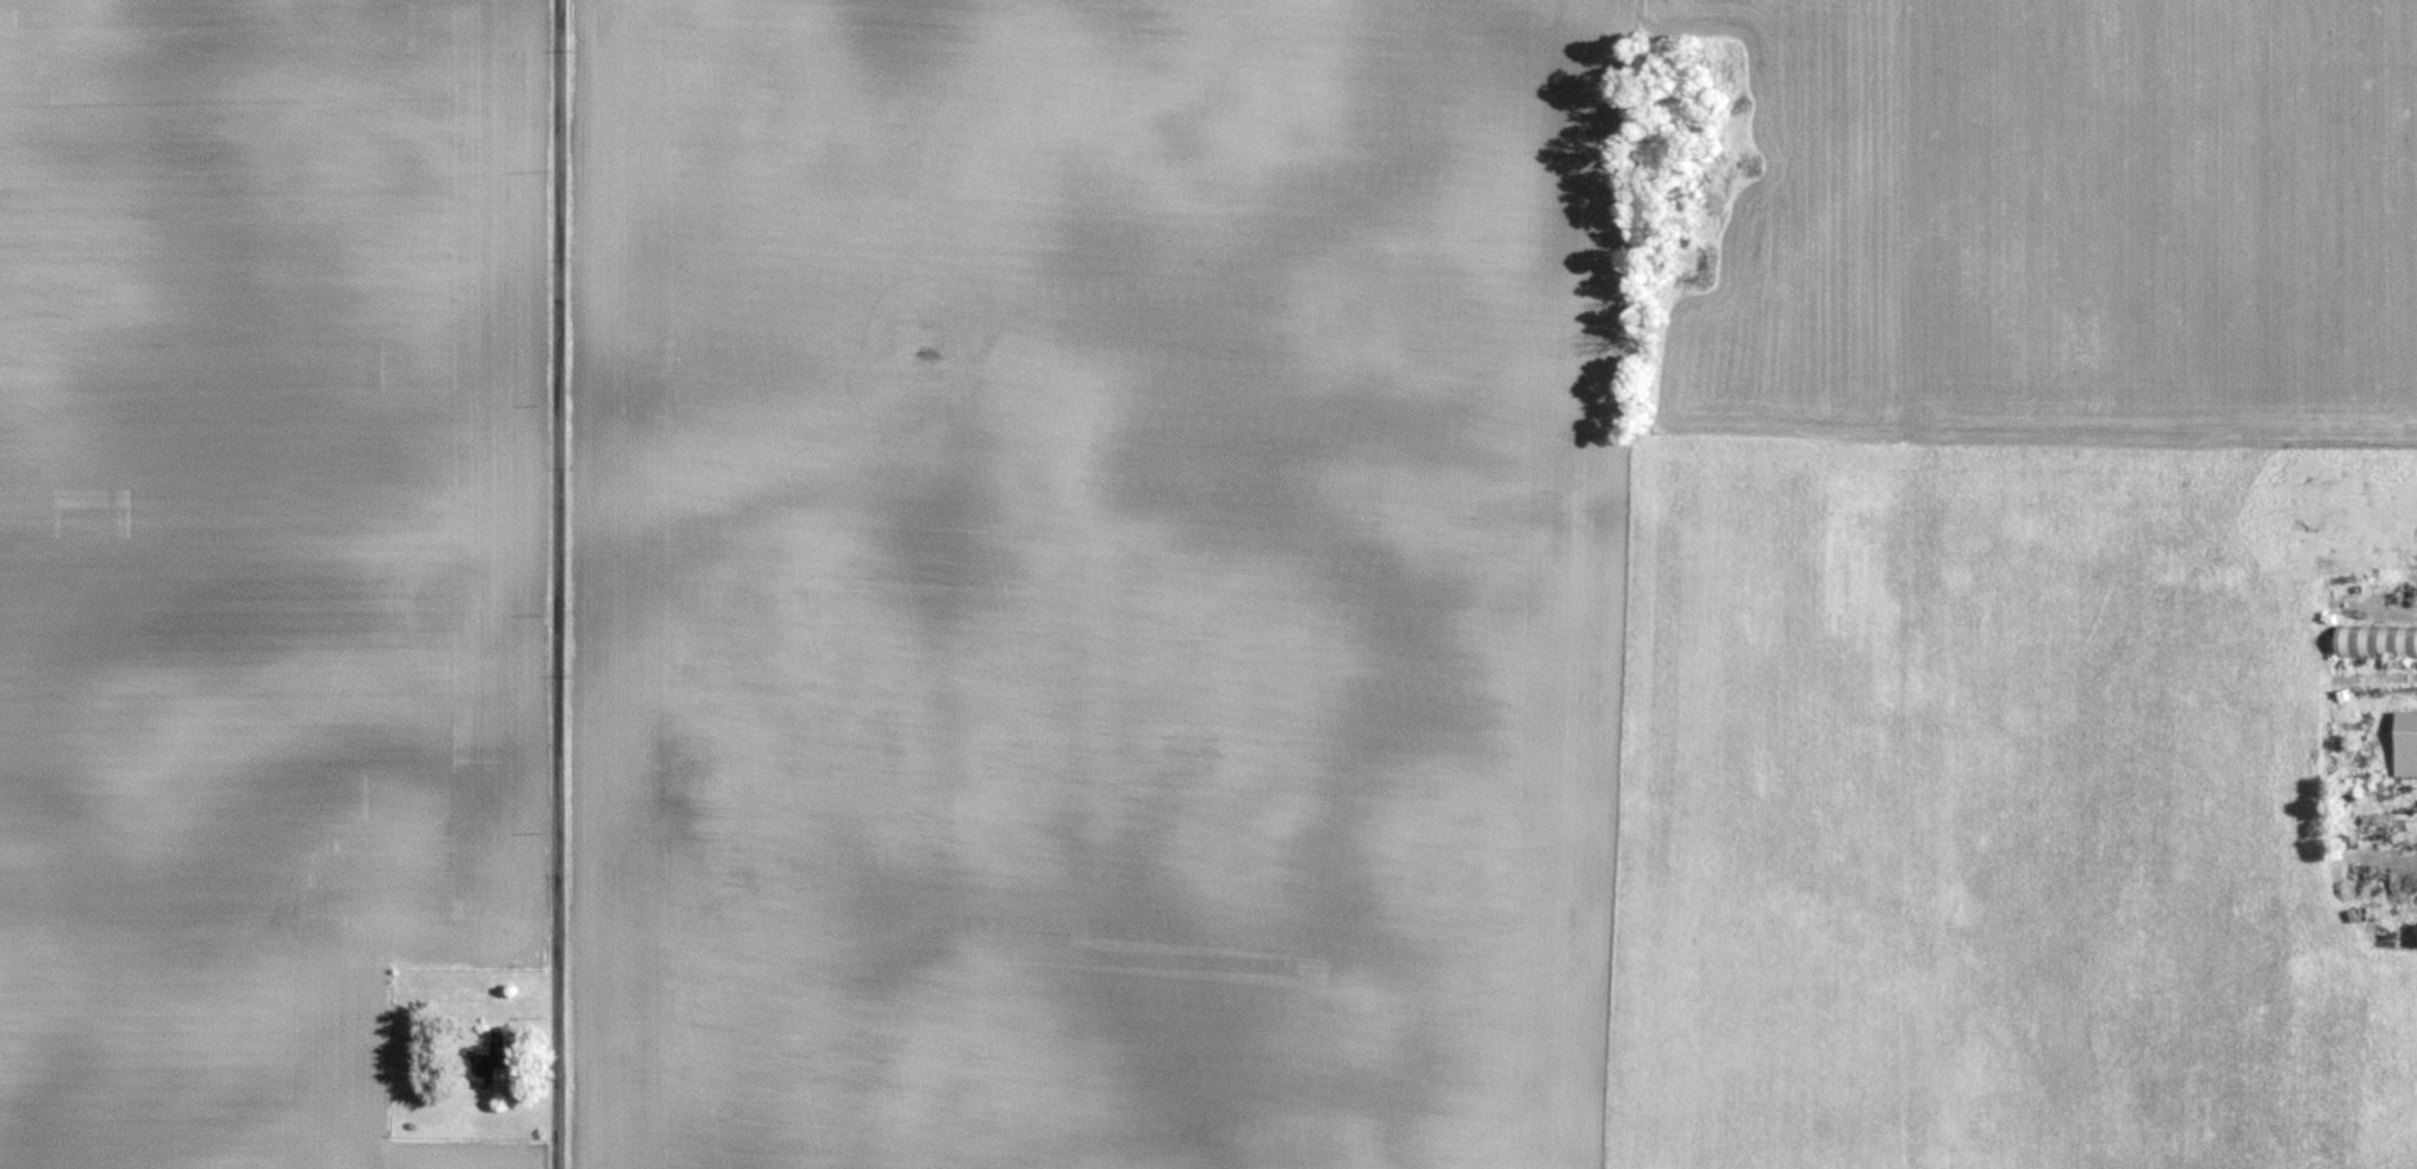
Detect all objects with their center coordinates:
road: (554, 584)
building: (2407, 730)
building: (496, 1056)

